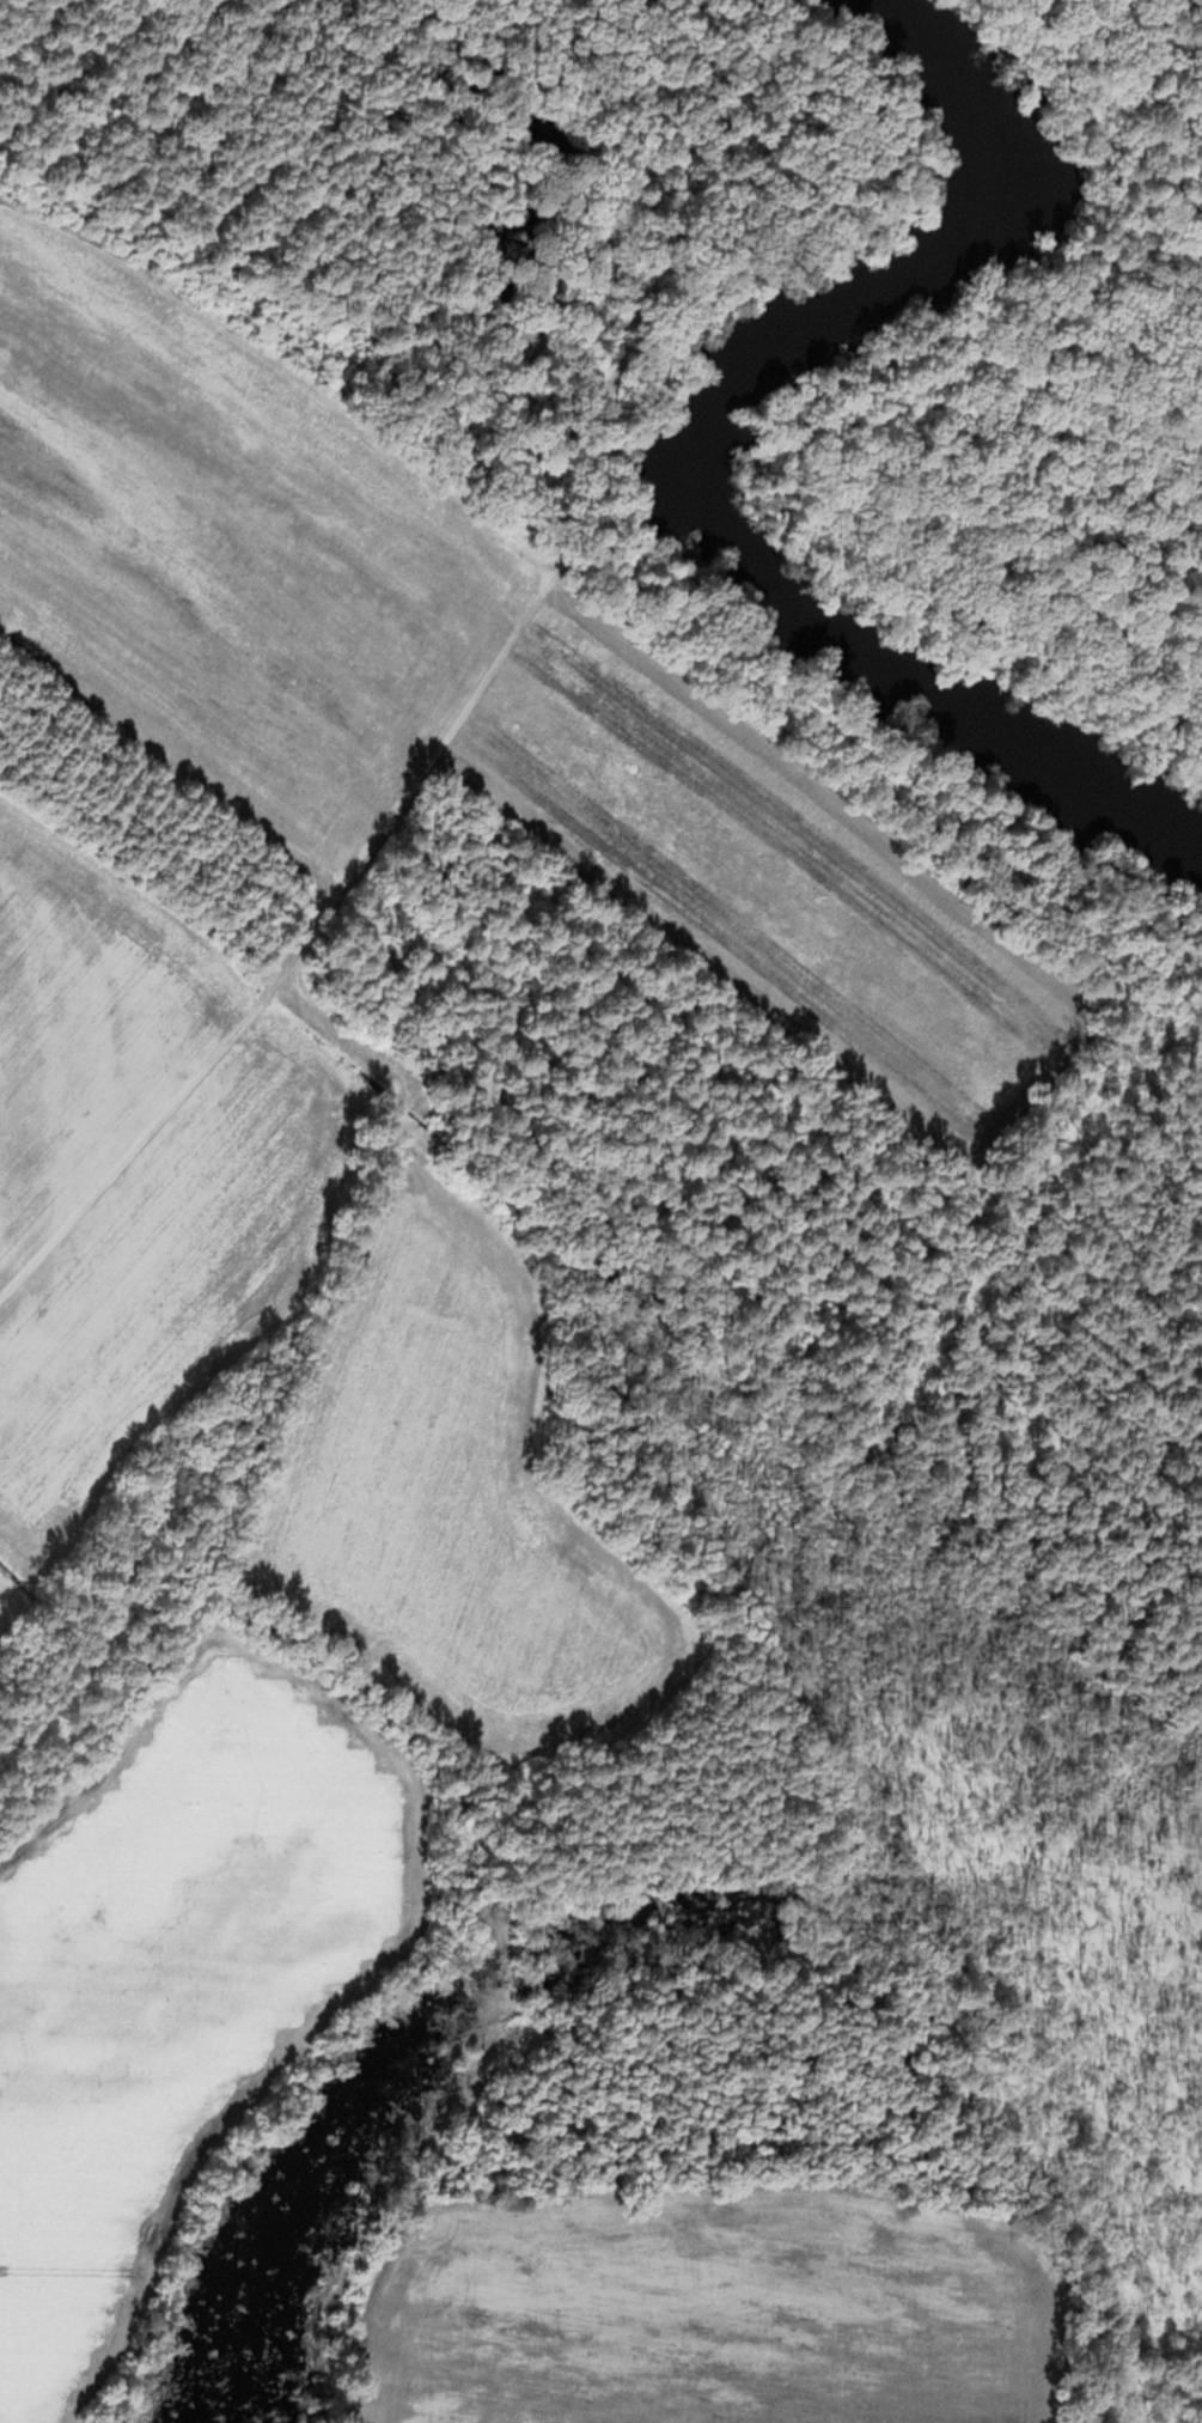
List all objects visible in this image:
river: (708, 473)

